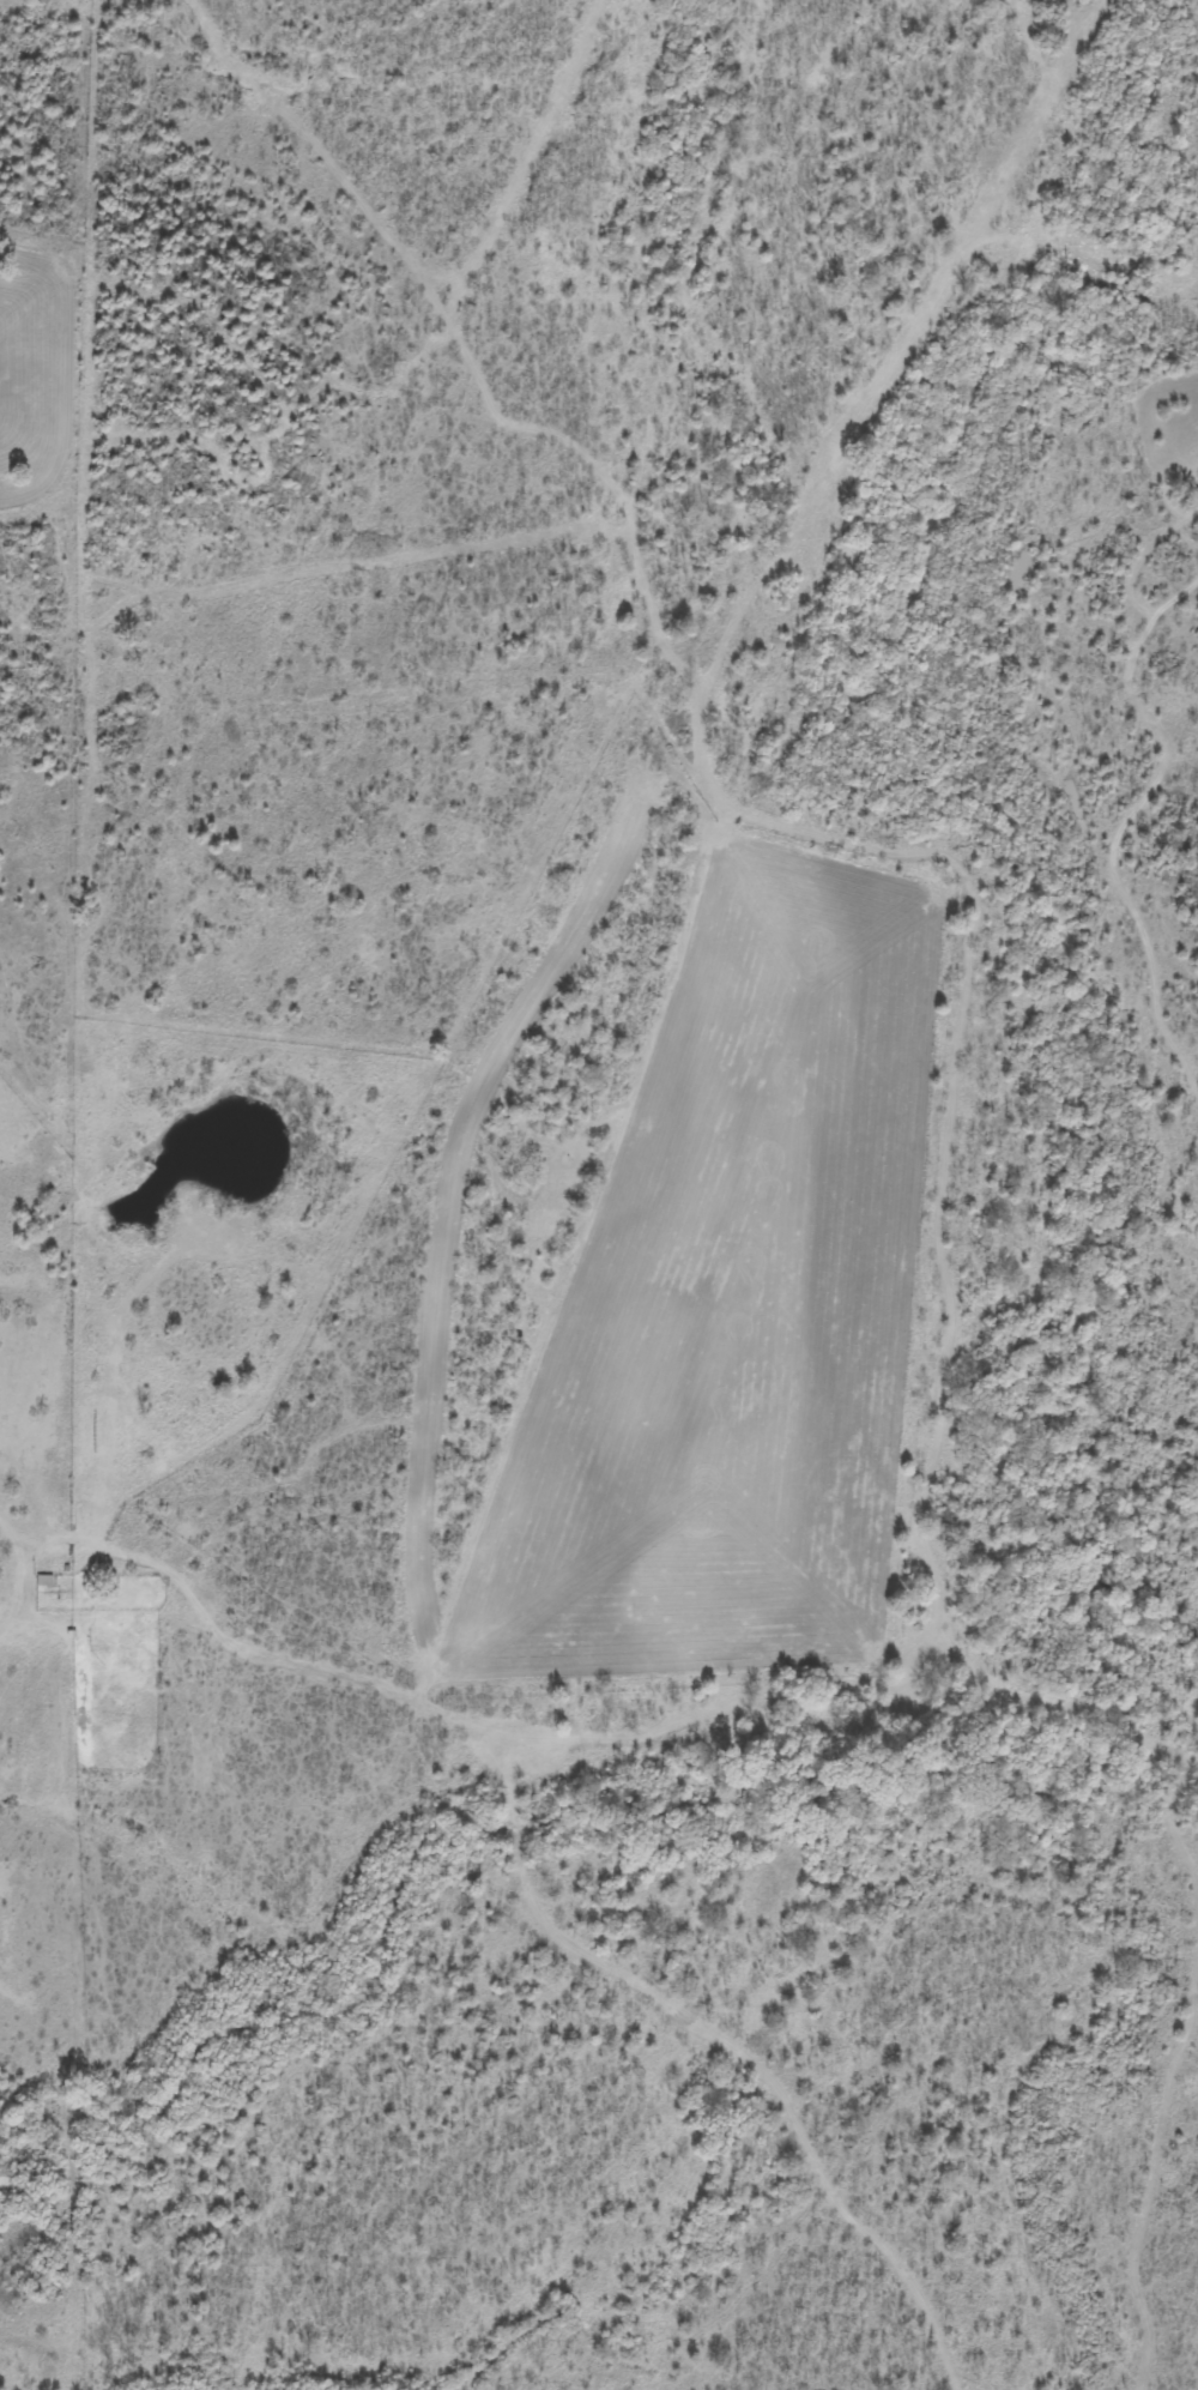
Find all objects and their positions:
road: (49, 1618)

